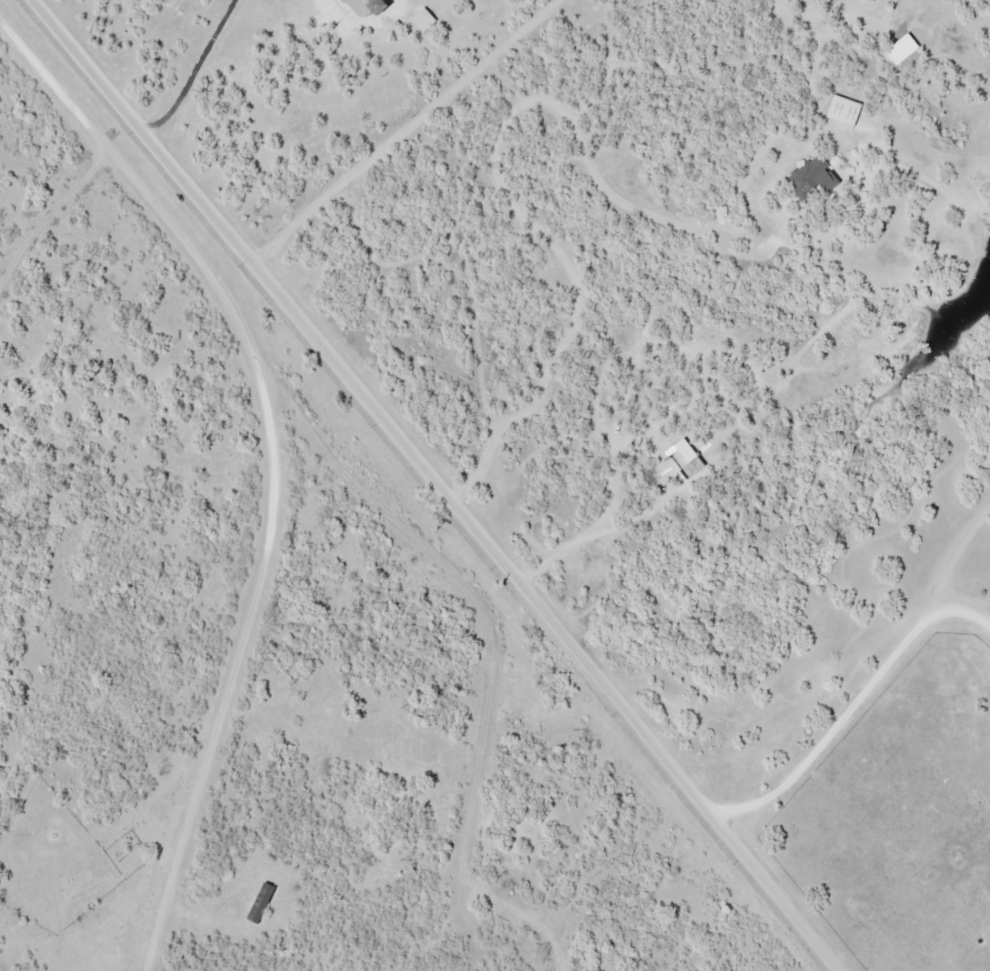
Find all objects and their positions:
building: (345, 0)
building: (377, 7)
road: (197, 70)
building: (847, 109)
road: (493, 161)
building: (816, 179)
road: (48, 208)
road: (277, 458)
road: (442, 483)
road: (951, 558)
road: (489, 630)
road: (849, 708)
building: (265, 901)

